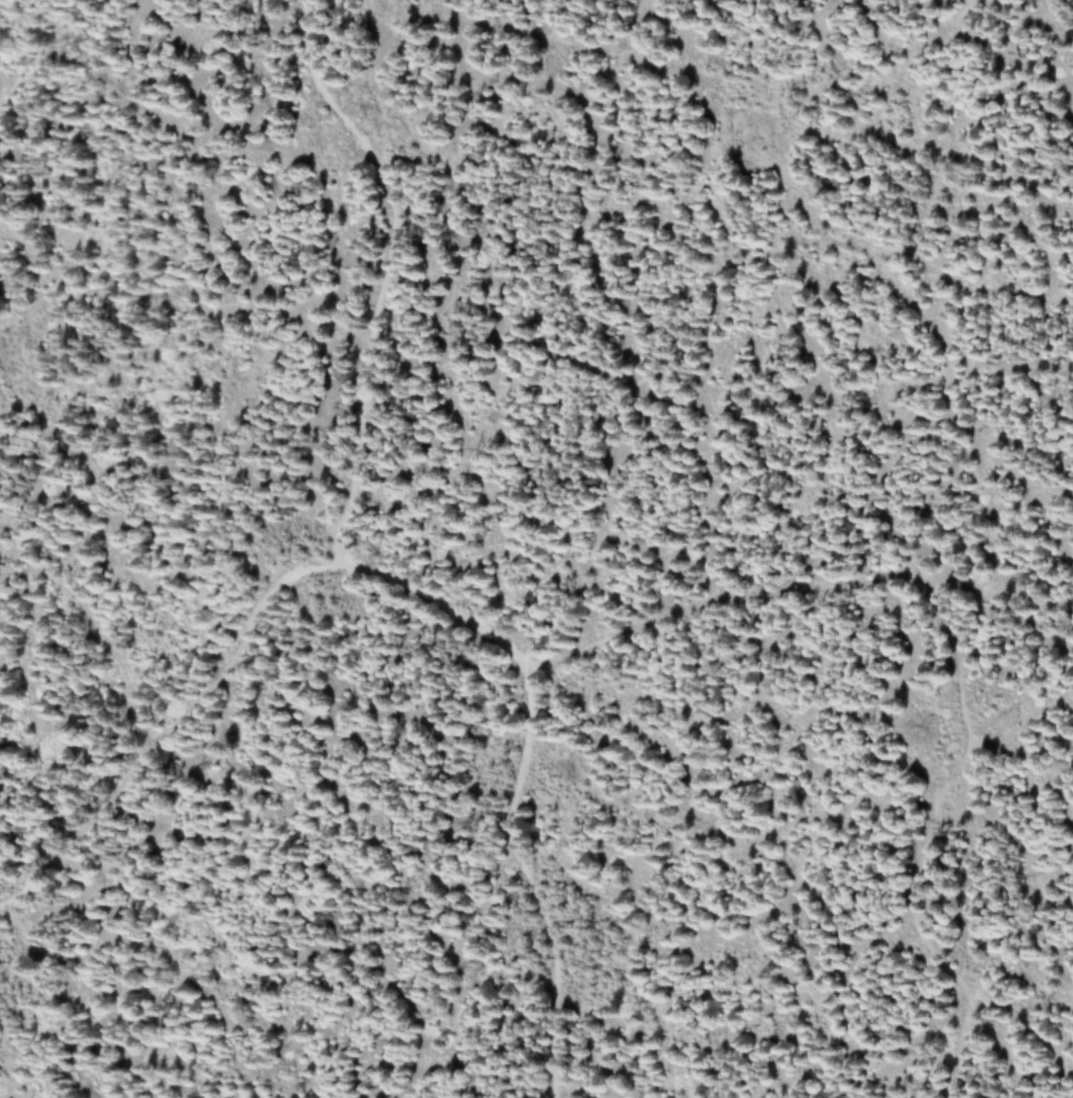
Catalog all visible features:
road: (386, 273)
road: (309, 573)
road: (527, 881)

